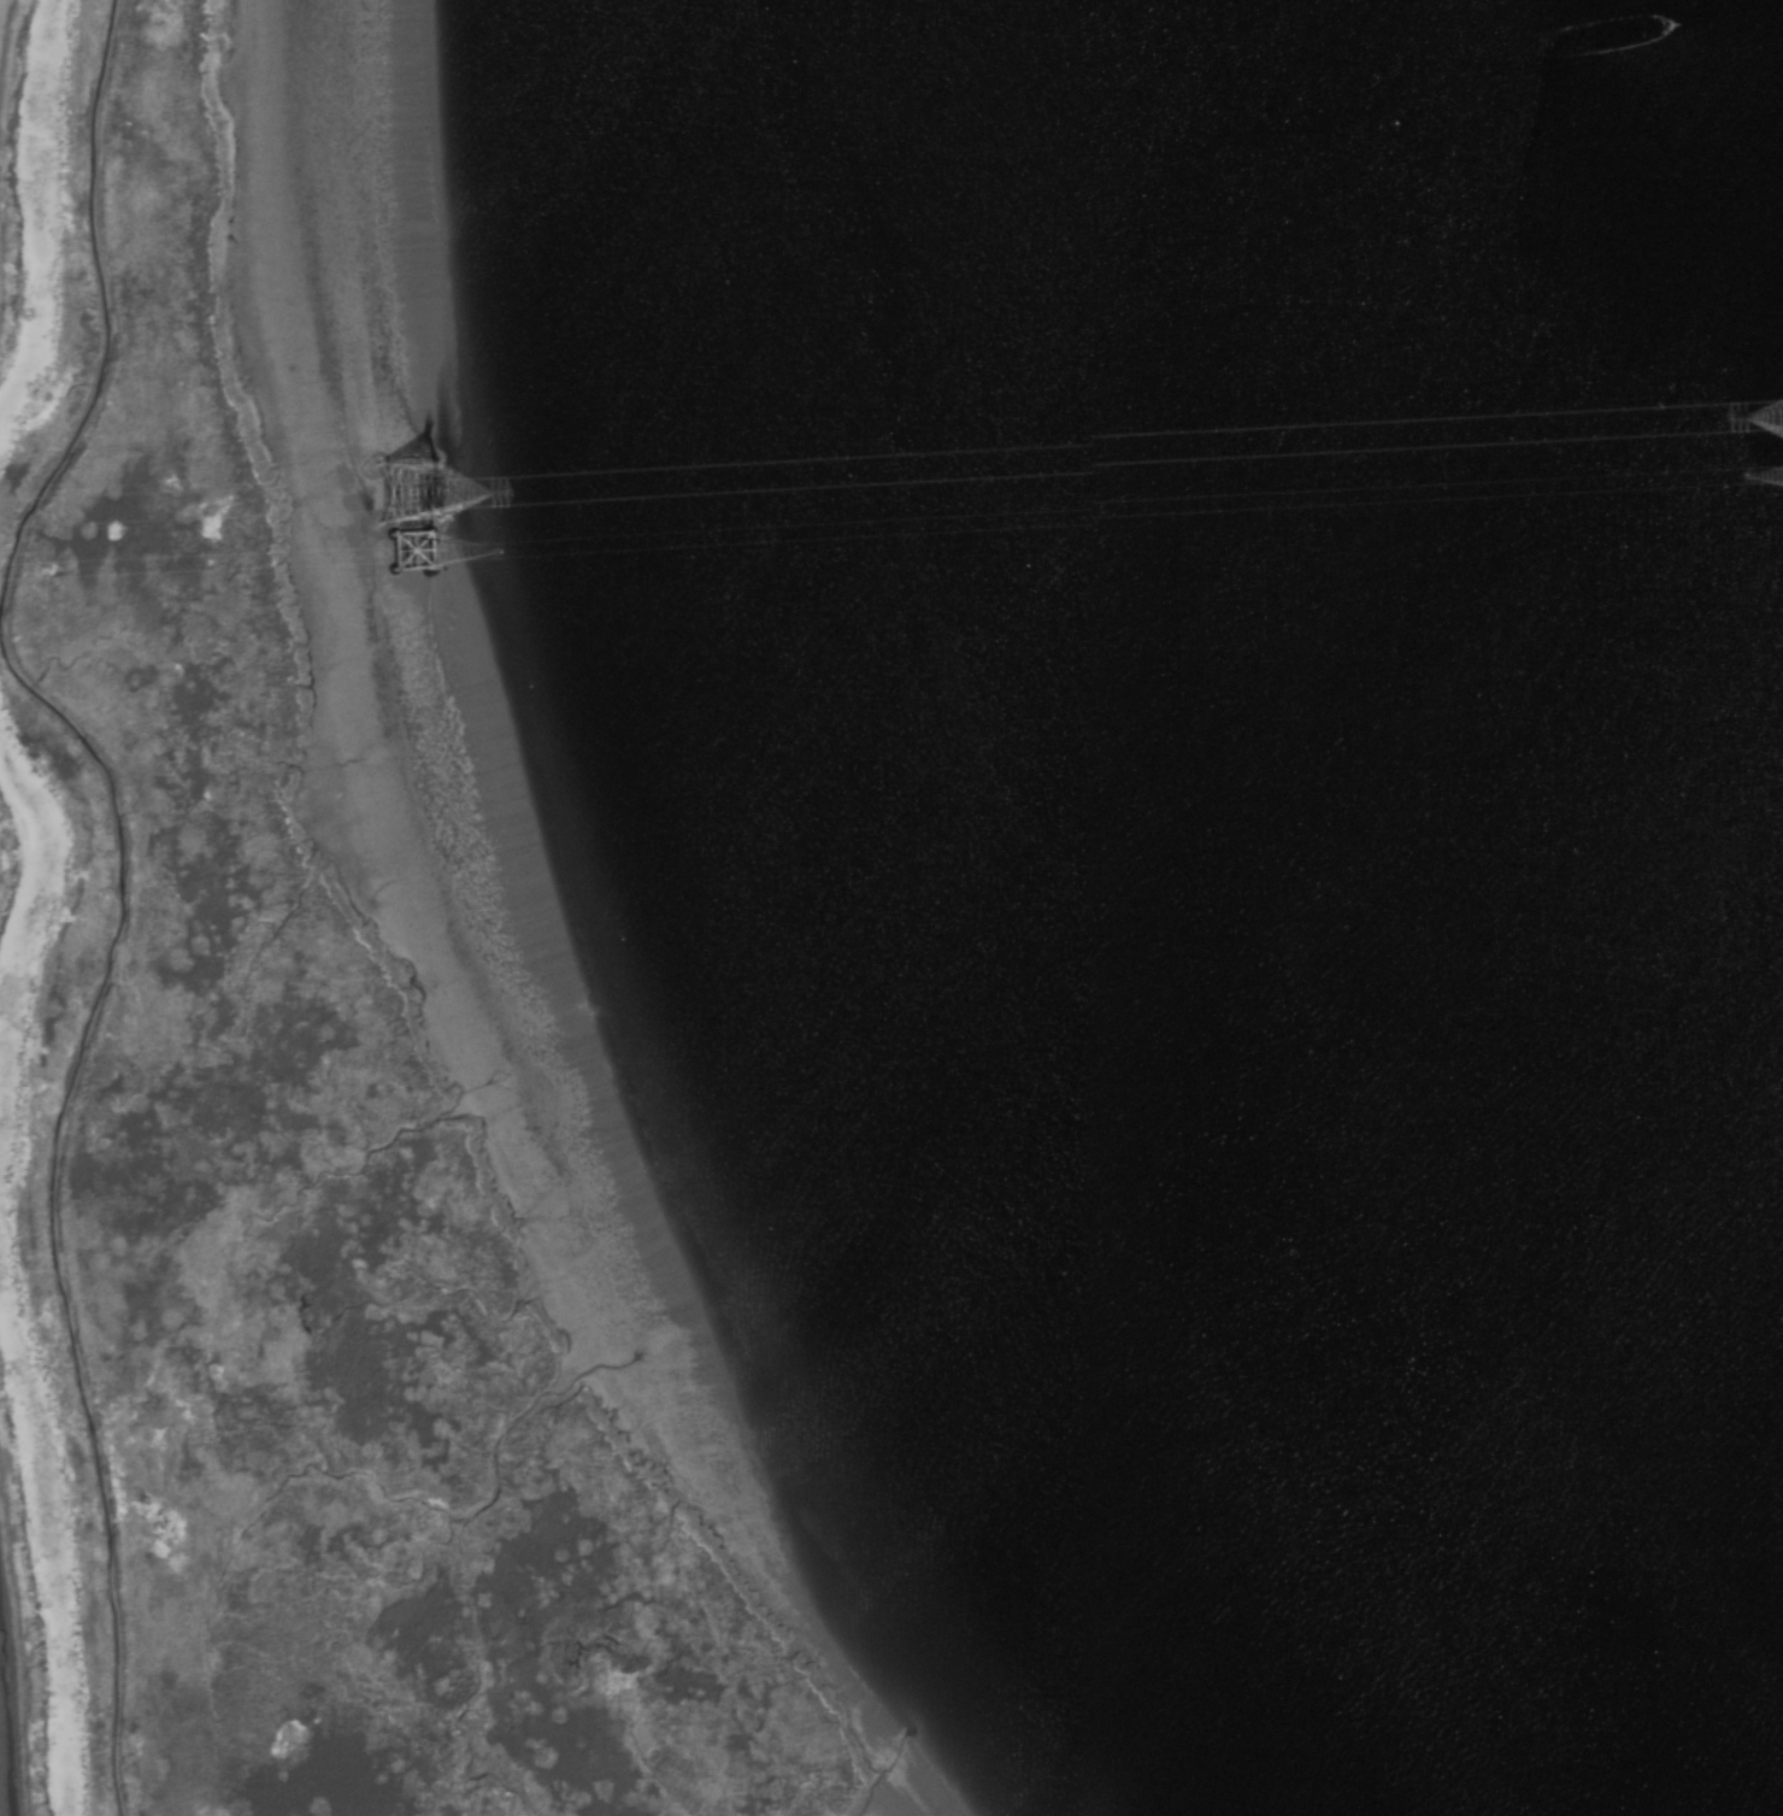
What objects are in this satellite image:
power tower: (412, 498)
power tower: (412, 552)
river: (1329, 891)

